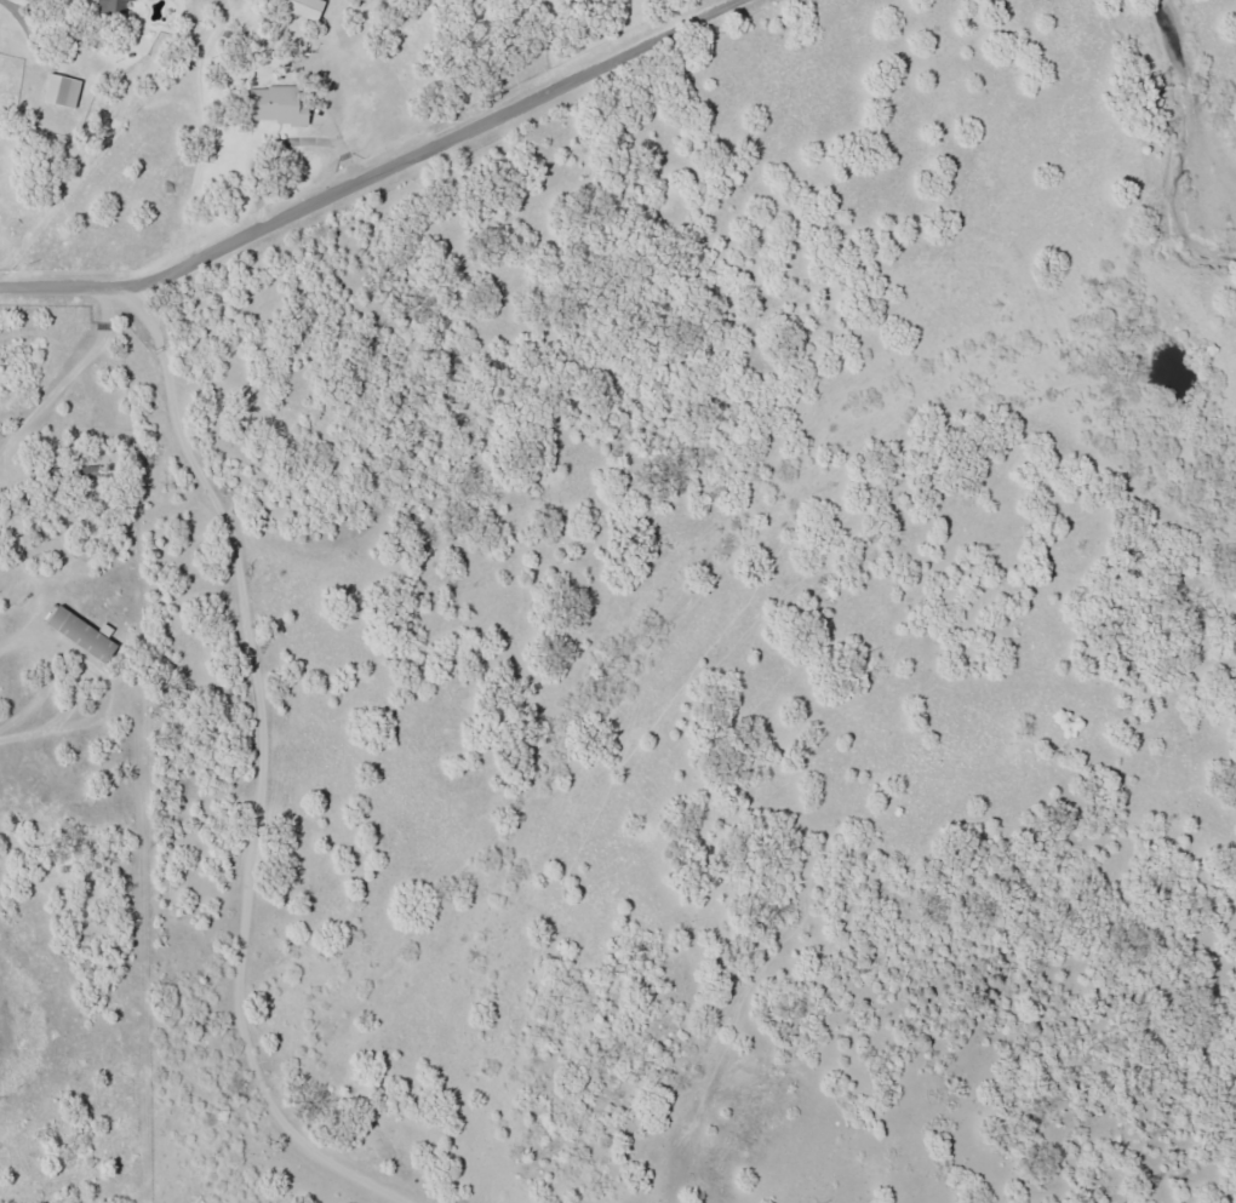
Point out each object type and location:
building: (111, 6)
building: (305, 7)
building: (62, 91)
building: (276, 105)
road: (377, 173)
road: (628, 511)
building: (81, 634)
road: (257, 769)

